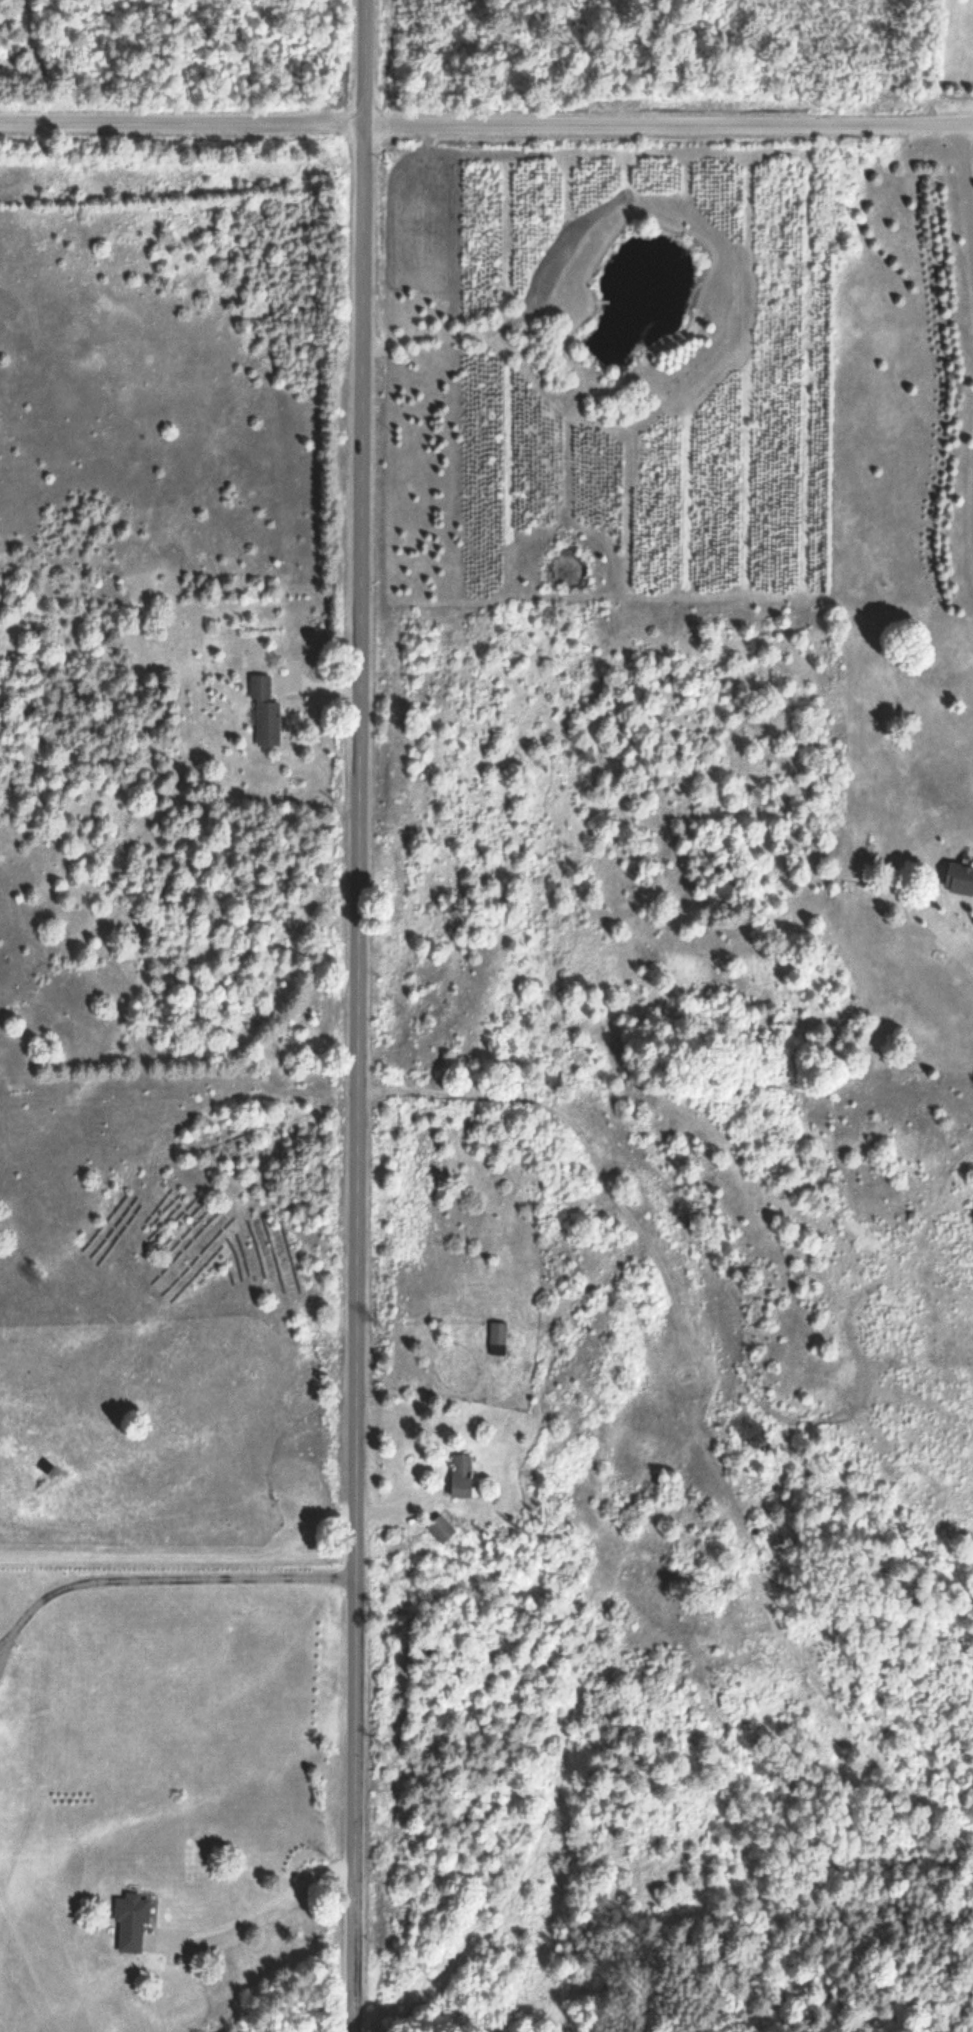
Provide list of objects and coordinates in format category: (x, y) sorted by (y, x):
road: (181, 123)
road: (667, 127)
building: (265, 711)
building: (959, 878)
road: (355, 1015)
building: (497, 1339)
building: (461, 1476)
building: (441, 1528)
building: (132, 1922)

